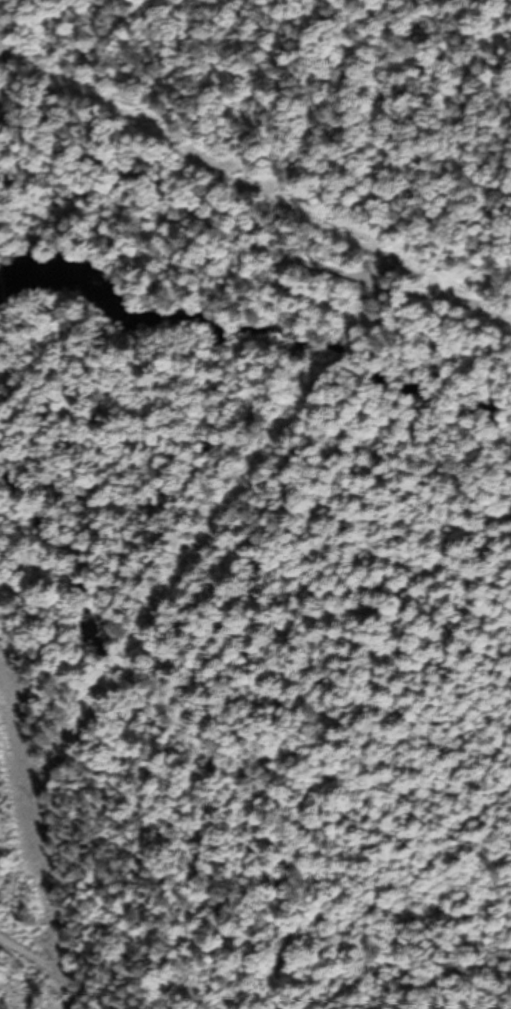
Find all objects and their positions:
road: (250, 276)

